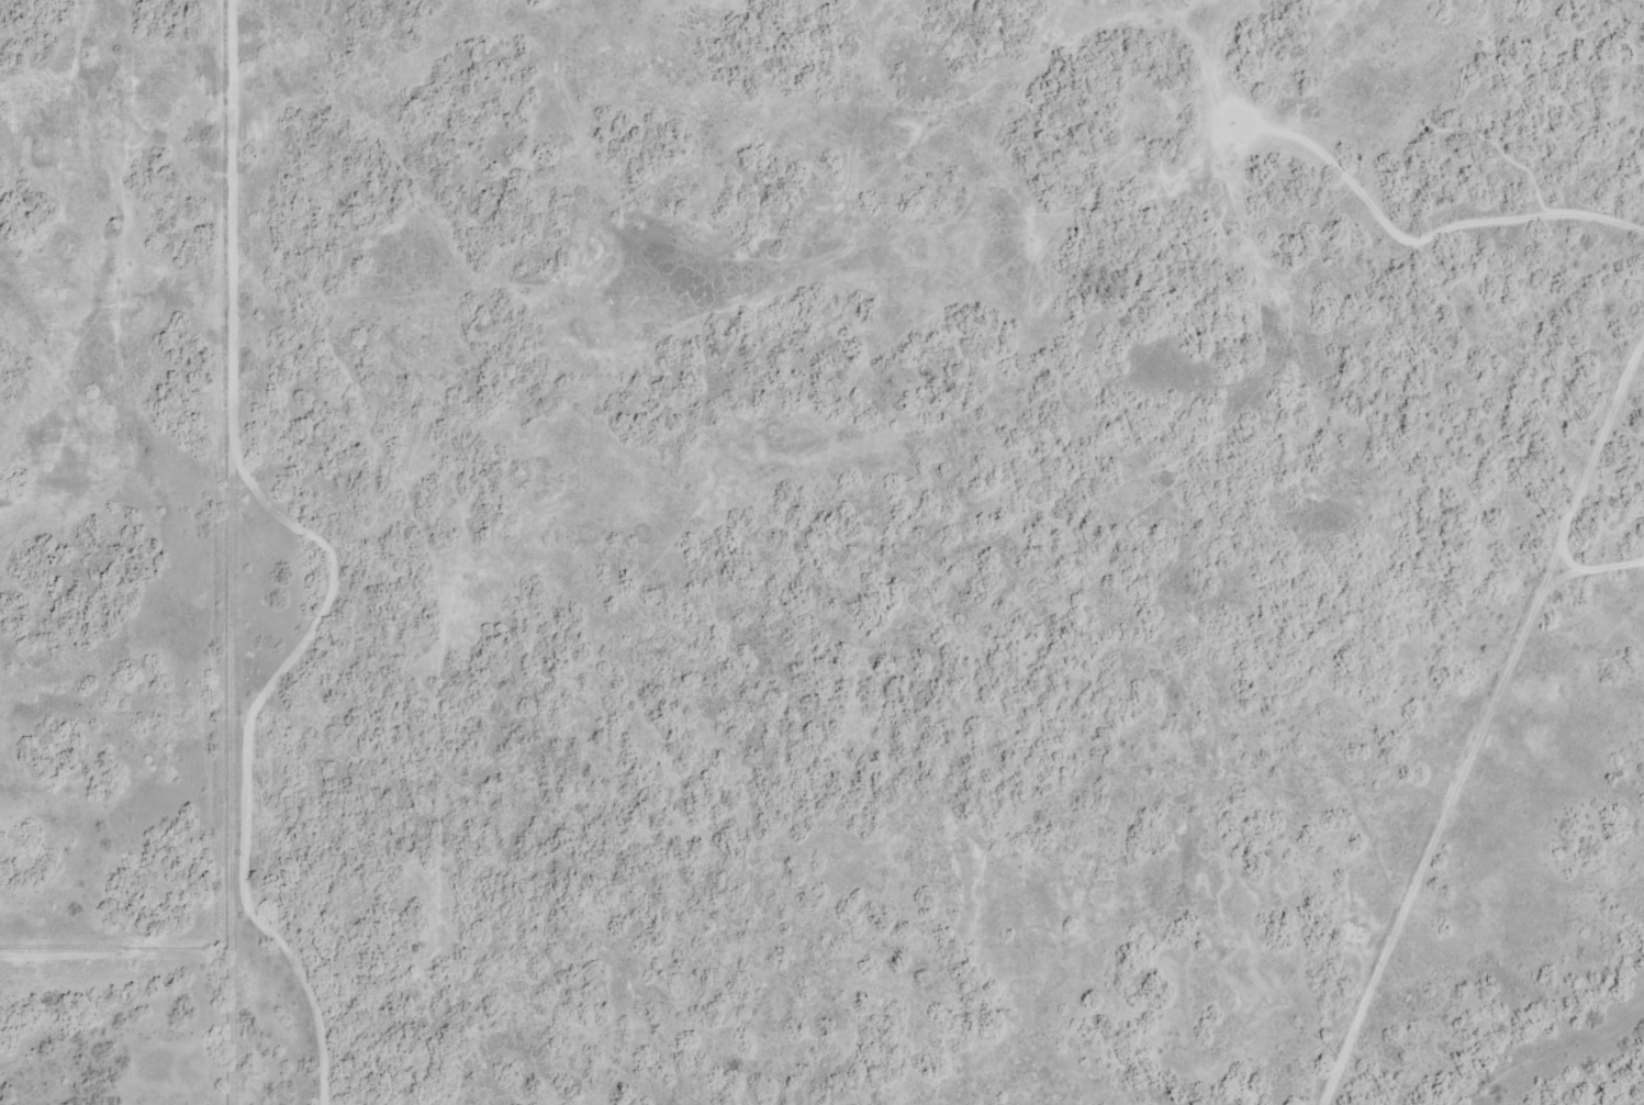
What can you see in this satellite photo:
road: (1519, 624)

